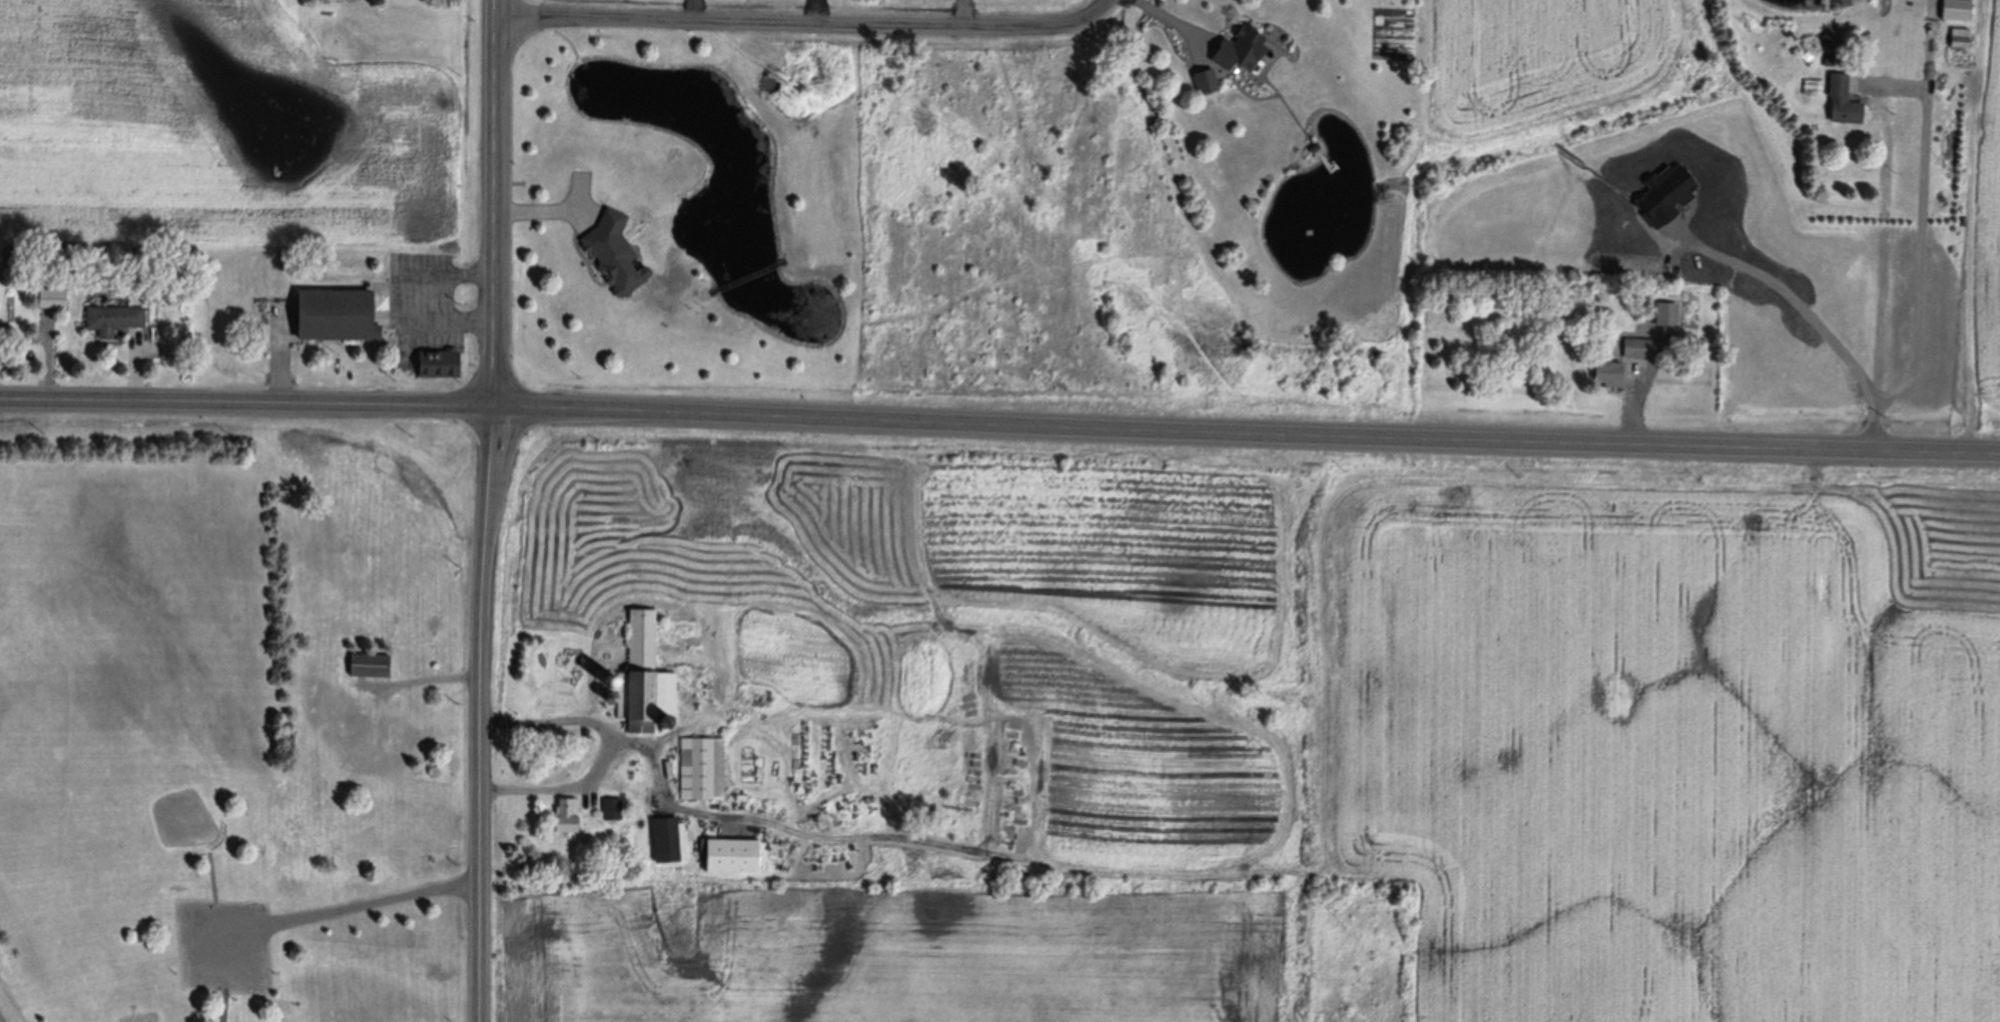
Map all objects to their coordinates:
road: (690, 11)
road: (1176, 18)
road: (806, 25)
building: (1960, 38)
building: (1830, 43)
building: (1241, 45)
building: (1807, 53)
building: (1961, 56)
building: (1206, 77)
building: (1843, 96)
building: (1898, 109)
building: (1315, 146)
building: (615, 248)
building: (139, 252)
road: (1915, 255)
building: (53, 295)
road: (435, 300)
road: (1793, 304)
building: (337, 309)
building: (1666, 310)
building: (115, 315)
building: (1637, 344)
road: (279, 356)
building: (439, 359)
building: (1608, 366)
road: (999, 426)
road: (491, 511)
building: (565, 655)
building: (577, 655)
building: (370, 661)
building: (577, 668)
building: (643, 674)
building: (611, 696)
building: (666, 719)
building: (395, 738)
building: (370, 740)
road: (607, 749)
park: (182, 752)
building: (703, 765)
park: (109, 767)
building: (612, 805)
building: (567, 810)
building: (670, 836)
building: (732, 851)
road: (372, 911)
parking lot: (229, 949)
road: (230, 1000)

